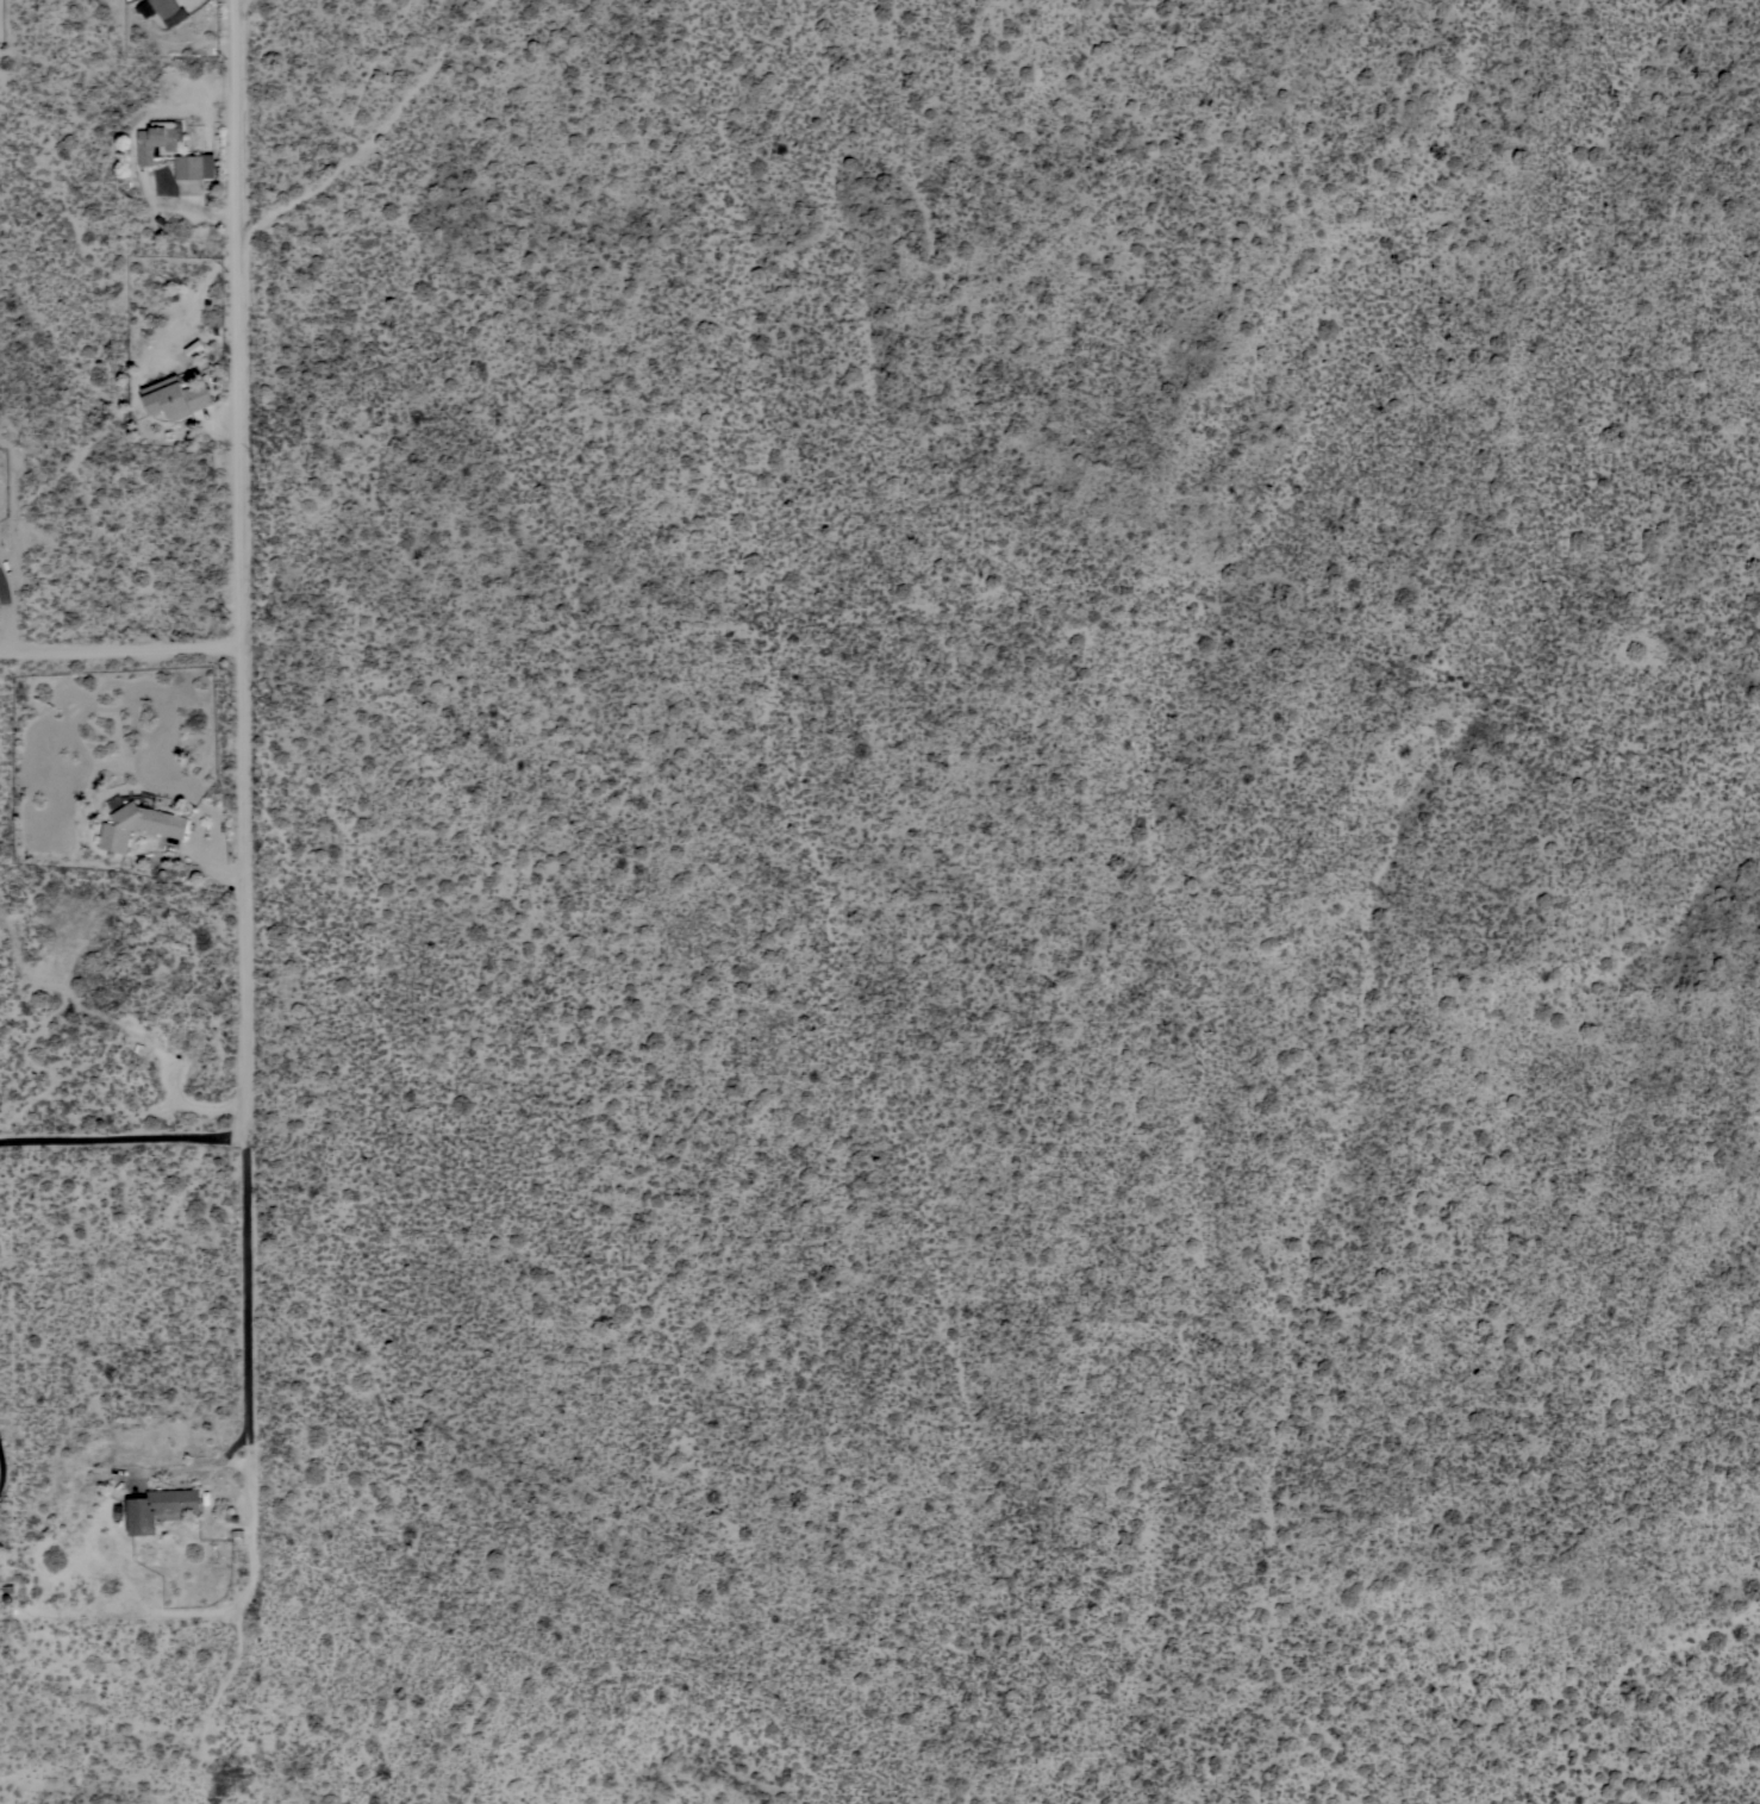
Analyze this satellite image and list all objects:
building: (164, 7)
building: (156, 139)
building: (194, 166)
building: (176, 397)
road: (5, 616)
road: (123, 650)
road: (246, 795)
building: (138, 825)
road: (124, 1132)
road: (5, 1465)
road: (193, 1466)
building: (160, 1508)
road: (108, 1610)

